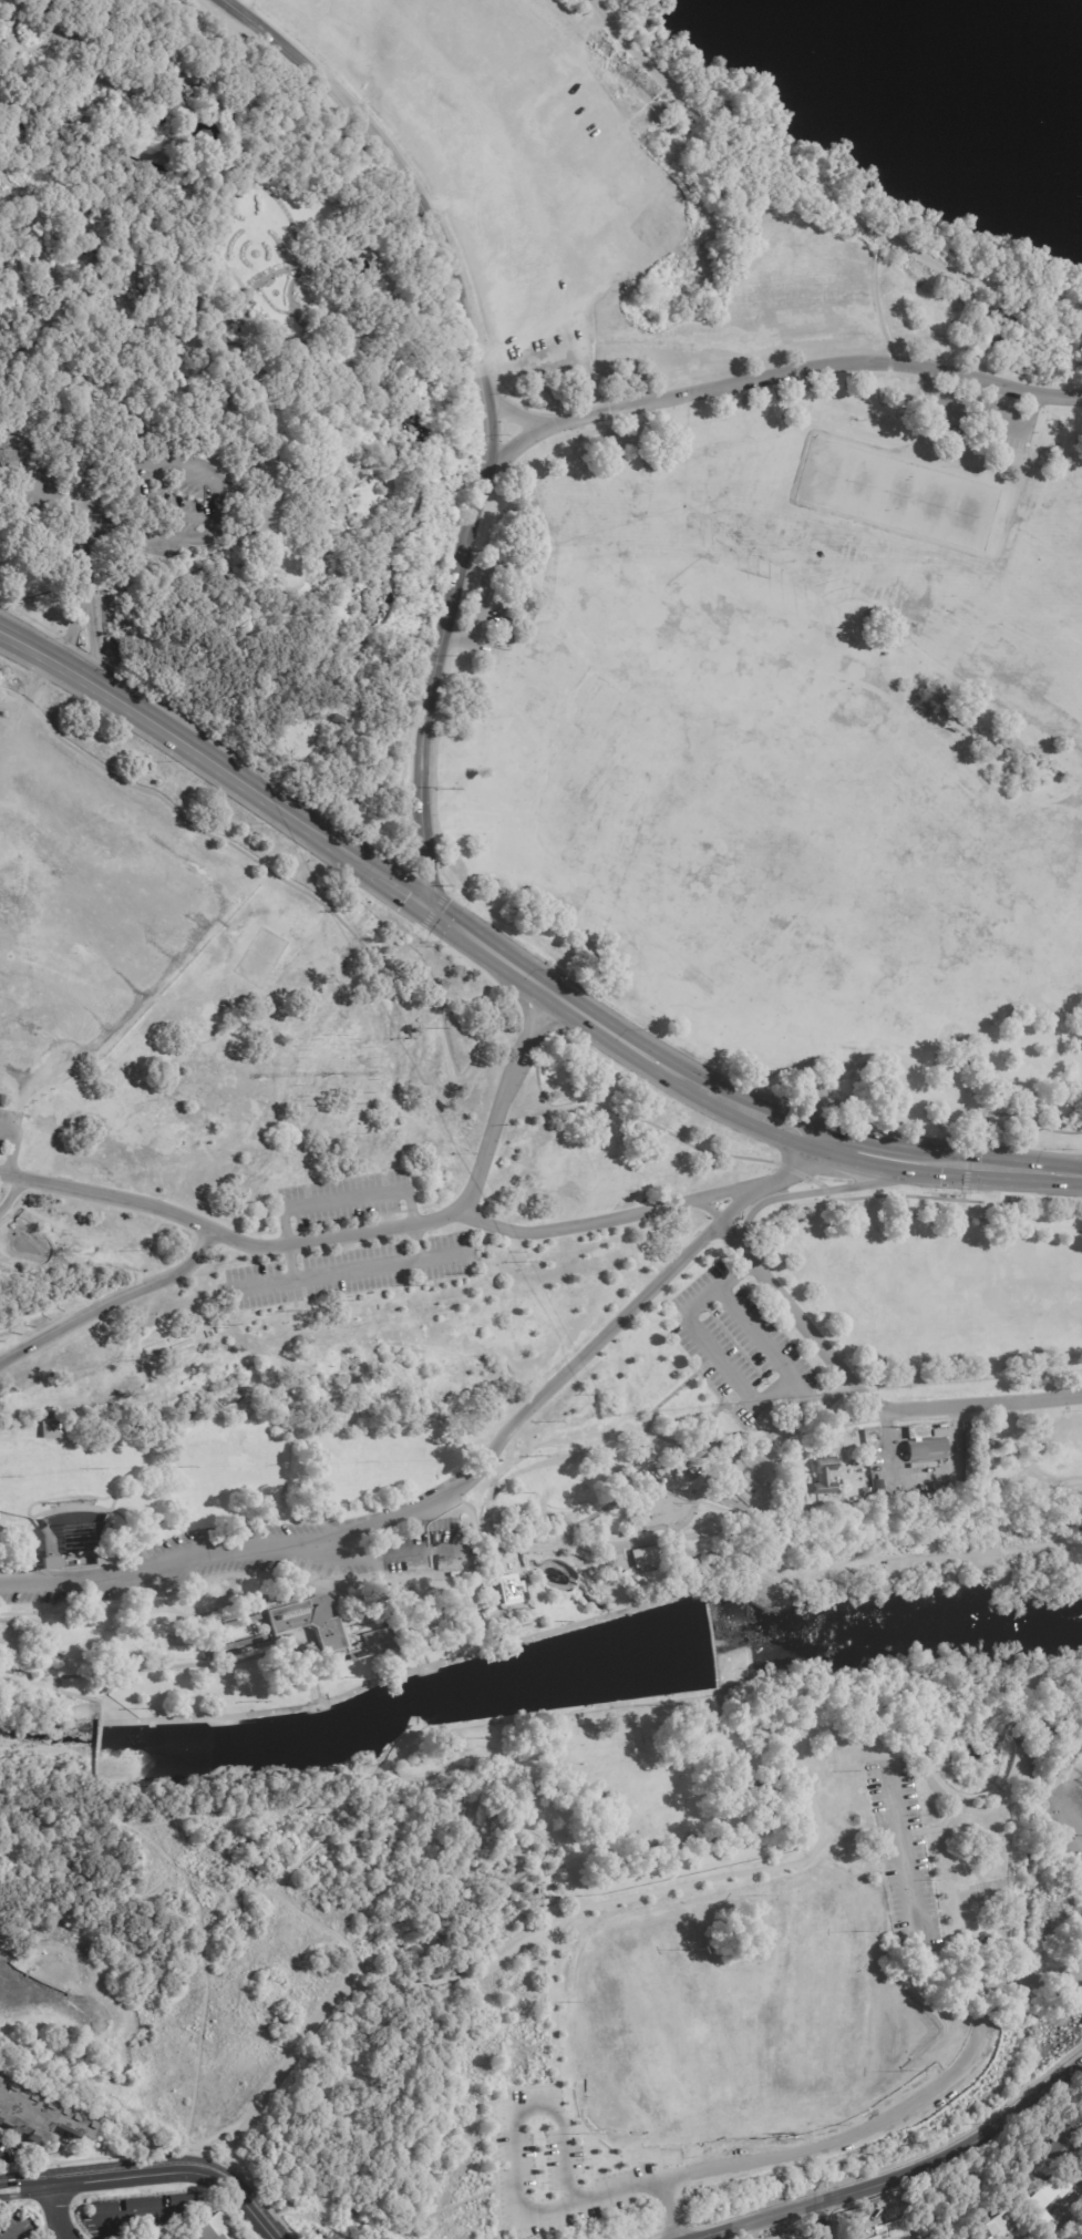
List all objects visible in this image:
road: (239, 4)
river: (1043, 28)
road: (41, 42)
parking lot: (503, 147)
road: (199, 172)
road: (815, 194)
road: (432, 204)
road: (872, 299)
road: (91, 322)
road: (37, 356)
road: (485, 356)
road: (816, 369)
road: (481, 374)
building: (95, 398)
building: (62, 415)
parking lot: (973, 417)
road: (975, 417)
road: (517, 418)
road: (10, 425)
road: (516, 446)
road: (427, 449)
road: (101, 462)
road: (12, 475)
road: (32, 493)
road: (80, 493)
park: (903, 494)
road: (223, 503)
building: (270, 507)
building: (405, 511)
building: (109, 515)
road: (141, 535)
road: (136, 564)
road: (86, 607)
parking lot: (488, 608)
road: (483, 609)
road: (72, 627)
road: (30, 647)
road: (82, 675)
road: (406, 740)
park: (792, 741)
road: (432, 763)
park: (734, 790)
road: (400, 854)
road: (400, 855)
road: (410, 864)
road: (369, 866)
road: (425, 871)
road: (426, 872)
road: (301, 890)
road: (432, 907)
traffic signals: (432, 910)
road: (485, 974)
road: (727, 1089)
road: (503, 1098)
park: (529, 1116)
road: (991, 1117)
road: (642, 1119)
parking lot: (12, 1134)
road: (820, 1138)
road: (869, 1138)
road: (10, 1148)
road: (839, 1156)
road: (996, 1157)
road: (786, 1172)
road: (1078, 1173)
road: (1078, 1175)
road: (811, 1192)
road: (12, 1195)
road: (109, 1195)
road: (869, 1196)
building: (1017, 1199)
road: (705, 1206)
road: (1017, 1218)
road: (606, 1219)
road: (339, 1236)
parking lot: (350, 1244)
road: (443, 1260)
road: (420, 1263)
road: (261, 1287)
road: (111, 1298)
road: (756, 1332)
parking lot: (736, 1347)
road: (733, 1379)
road: (866, 1389)
building: (51, 1428)
building: (918, 1434)
building: (874, 1448)
building: (925, 1449)
building: (971, 1455)
building: (874, 1459)
road: (763, 1468)
building: (822, 1473)
road: (993, 1481)
building: (937, 1486)
building: (877, 1487)
building: (318, 1490)
railway: (684, 1495)
road: (437, 1503)
railway: (758, 1517)
building: (525, 1531)
building: (78, 1538)
road: (424, 1552)
parking lot: (262, 1553)
building: (647, 1555)
road: (930, 1564)
building: (468, 1584)
building: (481, 1584)
road: (382, 1585)
building: (457, 1588)
building: (511, 1588)
road: (705, 1591)
building: (470, 1592)
building: (457, 1593)
building: (457, 1600)
building: (472, 1601)
building: (483, 1604)
building: (457, 1606)
building: (473, 1608)
building: (501, 1617)
building: (239, 1619)
building: (492, 1619)
building: (484, 1621)
building: (311, 1622)
building: (246, 1639)
dam: (711, 1639)
road: (712, 1640)
road: (509, 1642)
building: (205, 1655)
road: (176, 1665)
road: (309, 1673)
road: (907, 1673)
road: (53, 1685)
road: (116, 1685)
road: (719, 1688)
road: (544, 1712)
road: (208, 1719)
dam: (100, 1738)
road: (100, 1738)
park: (1078, 1762)
road: (466, 1767)
road: (1031, 1784)
road: (947, 1799)
road: (111, 1801)
road: (234, 1815)
road: (1073, 1815)
road: (330, 1818)
parking lot: (1064, 1818)
road: (942, 1826)
road: (512, 1849)
parking lot: (903, 1852)
road: (738, 1875)
road: (189, 1876)
road: (519, 1876)
building: (539, 1889)
road: (546, 1890)
road: (525, 1944)
road: (482, 1971)
road: (991, 1981)
road: (421, 1983)
park: (821, 1990)
road: (358, 1993)
road: (554, 2005)
road: (200, 2019)
park: (662, 2030)
road: (271, 2083)
building: (38, 2117)
road: (215, 2135)
road: (836, 2138)
parking lot: (779, 2156)
road: (882, 2169)
road: (495, 2170)
road: (152, 2171)
road: (514, 2171)
road: (894, 2175)
building: (179, 2201)
building: (1047, 2201)
building: (141, 2205)
road: (450, 2207)
building: (102, 2208)
road: (58, 2211)
road: (307, 2219)
road: (823, 2220)
road: (1069, 2226)
building: (1002, 2227)
building: (210, 2229)
road: (14, 2233)
building: (150, 2235)
building: (892, 2235)
building: (969, 2238)

